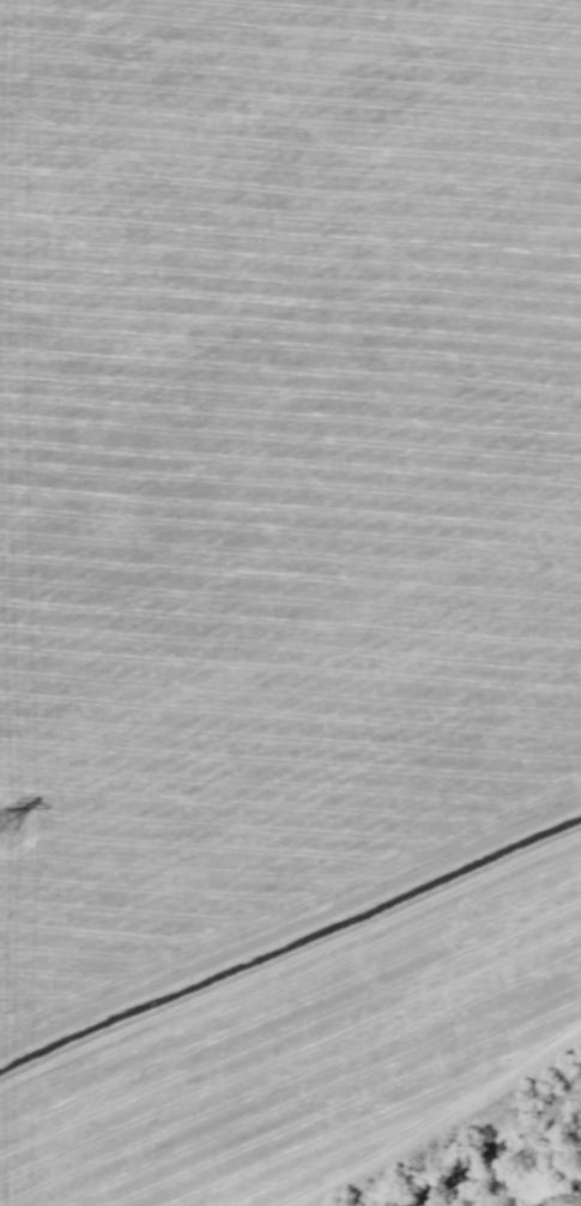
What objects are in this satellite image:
power tower: (2, 824)

